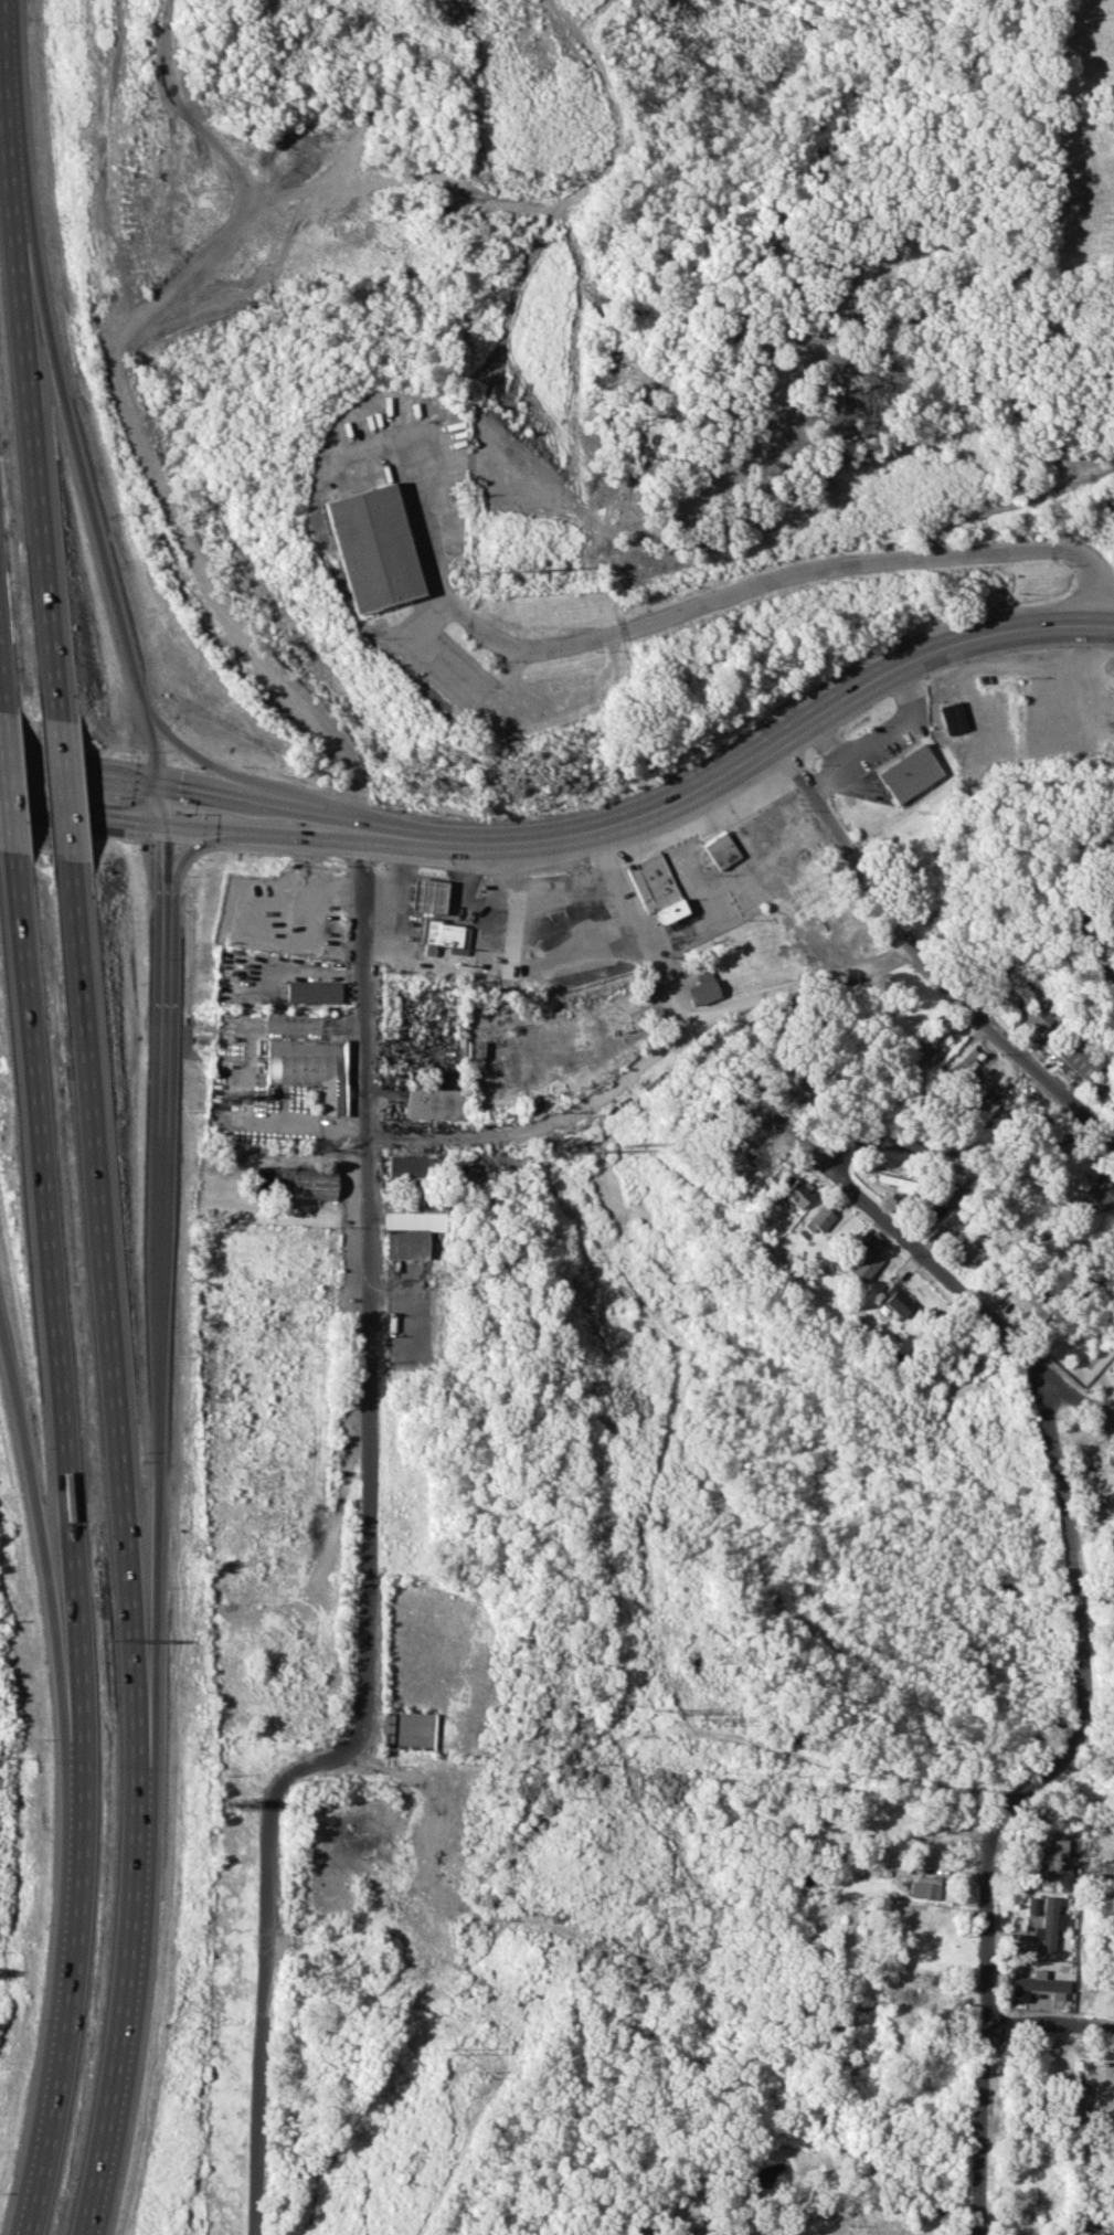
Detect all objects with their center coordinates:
road: (187, 107)
road: (184, 273)
road: (20, 361)
road: (1014, 504)
road: (97, 536)
building: (370, 545)
power tower: (540, 568)
power tower: (506, 569)
road: (705, 601)
parking lot: (438, 660)
road: (879, 739)
road: (14, 762)
road: (747, 763)
road: (821, 773)
building: (908, 773)
road: (81, 774)
road: (4, 787)
road: (62, 792)
road: (265, 796)
road: (180, 822)
road: (192, 847)
road: (167, 849)
building: (719, 849)
road: (1101, 886)
building: (654, 887)
building: (425, 894)
road: (640, 924)
building: (442, 936)
road: (1091, 939)
road: (921, 962)
building: (702, 987)
building: (310, 991)
building: (1017, 994)
road: (165, 1005)
building: (1036, 1016)
building: (926, 1055)
building: (1080, 1055)
building: (966, 1060)
road: (640, 1063)
building: (308, 1068)
building: (435, 1103)
power tower: (624, 1142)
road: (954, 1146)
power tower: (584, 1151)
building: (756, 1154)
building: (407, 1165)
building: (293, 1182)
building: (906, 1185)
building: (797, 1191)
building: (1102, 1191)
building: (818, 1218)
building: (410, 1232)
building: (968, 1251)
building: (868, 1257)
road: (934, 1267)
road: (102, 1278)
road: (51, 1284)
road: (367, 1295)
building: (1025, 1300)
building: (898, 1301)
road: (1068, 1392)
road: (160, 1413)
road: (38, 1519)
building: (1112, 1546)
road: (1064, 1575)
power tower: (666, 1707)
power tower: (711, 1718)
road: (311, 1769)
building: (1058, 1845)
building: (1061, 1869)
building: (924, 1886)
road: (985, 1888)
building: (1030, 1905)
building: (1048, 1924)
road: (129, 1966)
road: (66, 1978)
building: (1041, 1984)
building: (1018, 1995)
road: (264, 2011)
road: (1048, 2025)
power tower: (446, 2054)
power tower: (482, 2073)
road: (977, 2128)

